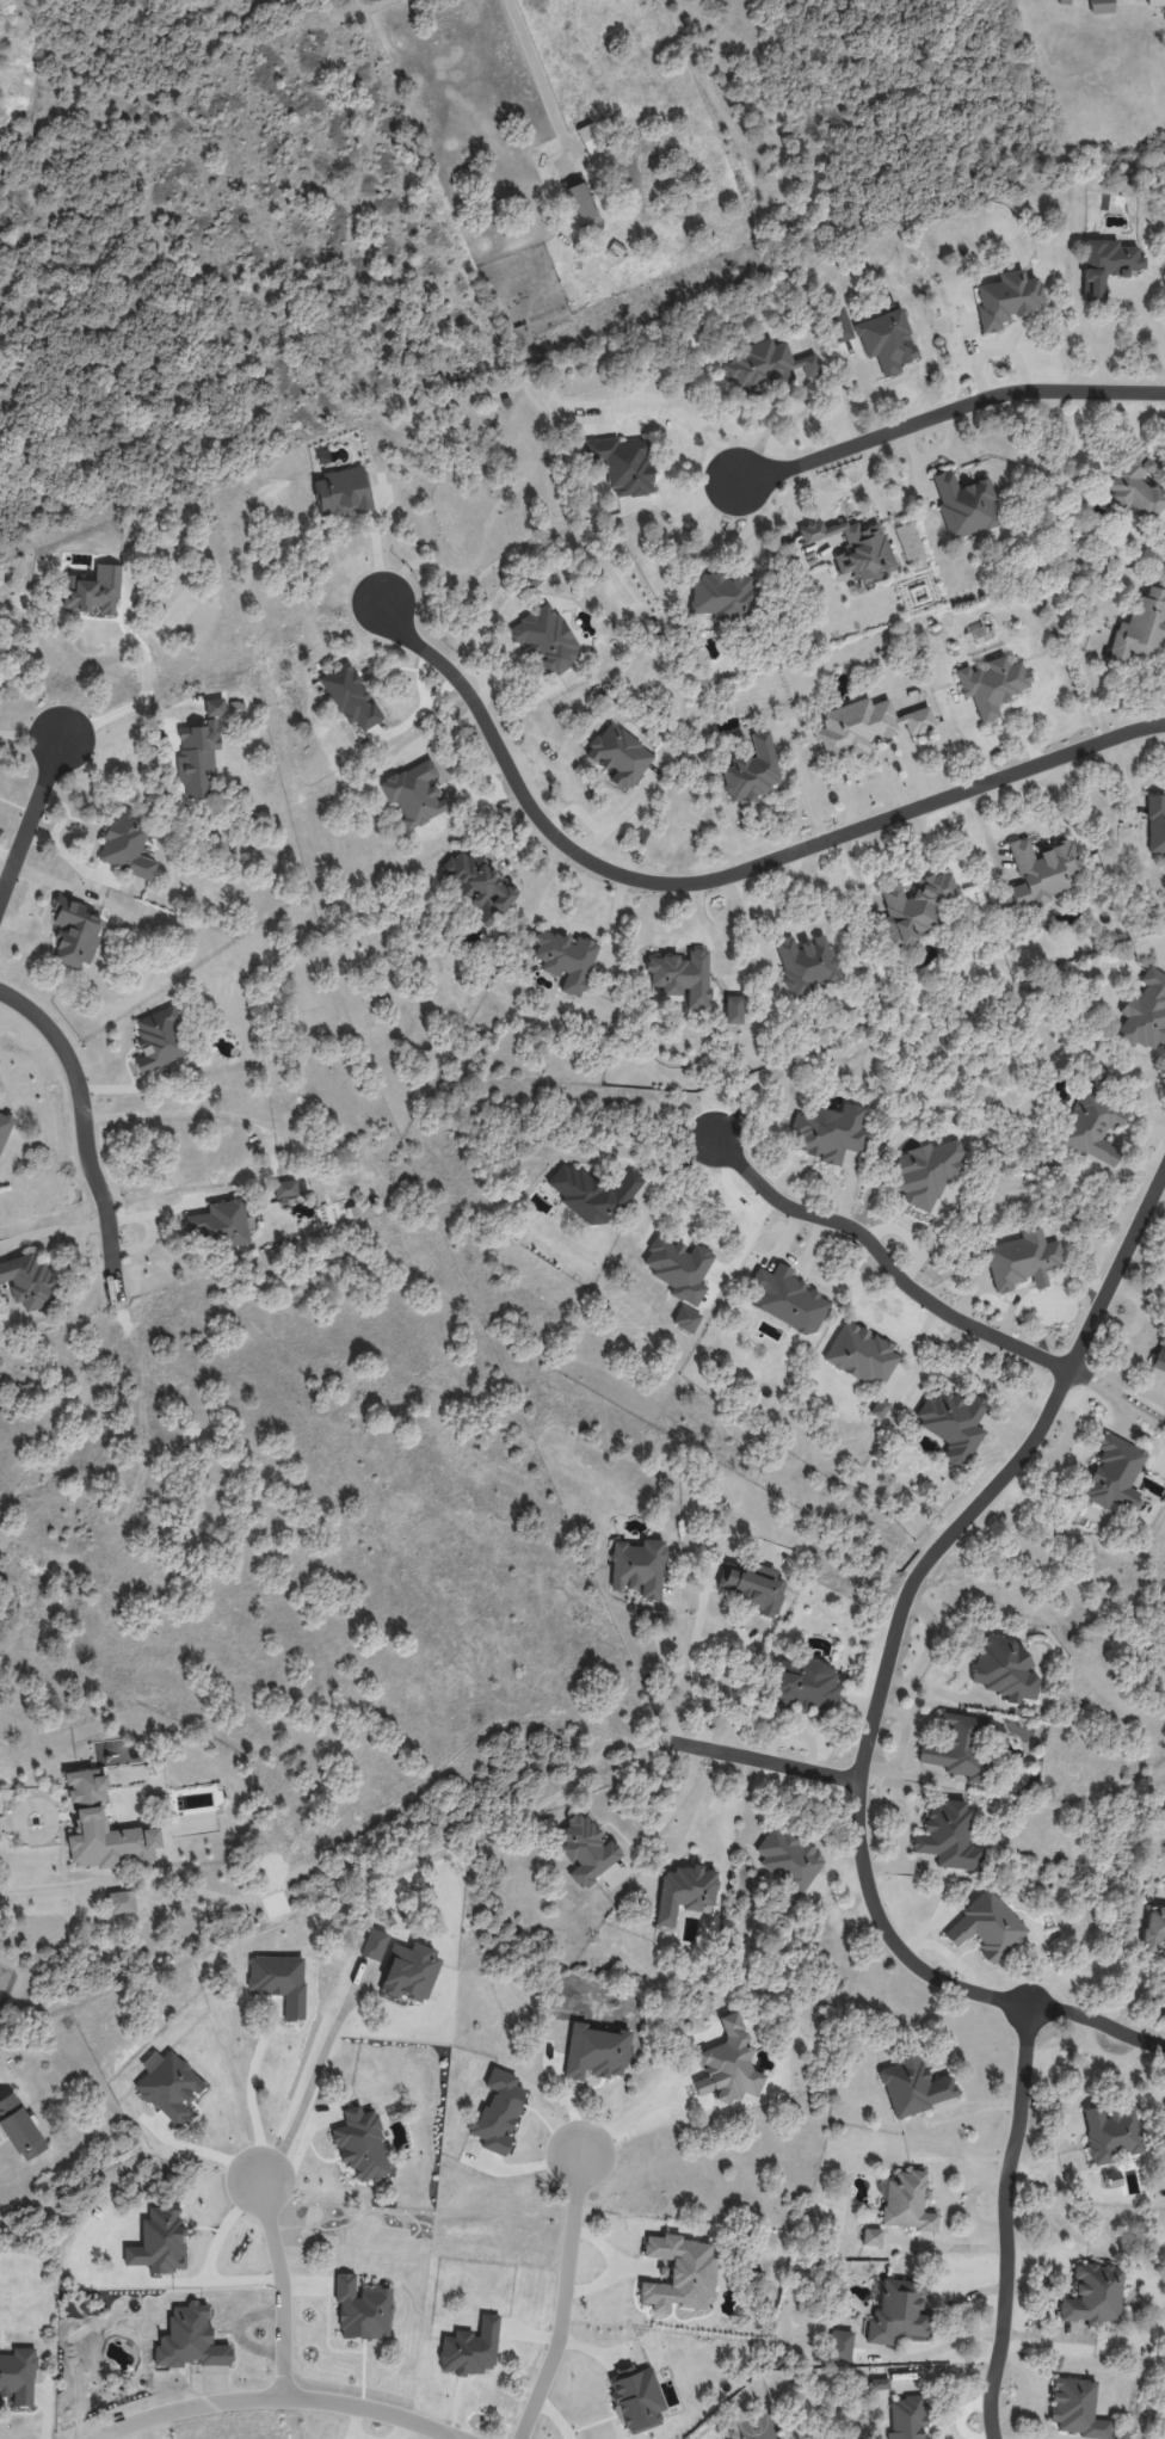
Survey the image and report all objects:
building: (1154, 4)
building: (1101, 6)
road: (534, 63)
building: (590, 137)
building: (580, 202)
building: (1105, 265)
building: (1006, 298)
road: (1149, 320)
building: (884, 340)
building: (764, 365)
road: (944, 412)
road: (679, 420)
building: (622, 463)
building: (1136, 484)
building: (343, 492)
building: (964, 504)
building: (908, 541)
road: (376, 547)
building: (853, 548)
building: (93, 591)
building: (720, 595)
building: (1140, 628)
building: (978, 634)
building: (544, 640)
road: (146, 684)
building: (991, 684)
building: (347, 695)
building: (864, 725)
road: (124, 728)
building: (199, 752)
building: (618, 756)
building: (751, 770)
building: (413, 794)
road: (31, 818)
building: (1155, 823)
building: (125, 843)
building: (1040, 870)
road: (721, 876)
building: (477, 883)
building: (914, 909)
building: (74, 931)
building: (565, 959)
building: (805, 963)
building: (682, 975)
building: (732, 1009)
building: (1145, 1012)
building: (158, 1040)
building: (4, 1127)
building: (1092, 1127)
building: (830, 1132)
road: (82, 1137)
building: (925, 1171)
road: (671, 1178)
building: (284, 1188)
building: (591, 1193)
building: (217, 1224)
road: (42, 1230)
road: (81, 1248)
road: (882, 1258)
building: (1022, 1259)
building: (678, 1268)
building: (29, 1281)
building: (787, 1299)
building: (861, 1355)
building: (1159, 1357)
road: (1120, 1378)
building: (879, 1408)
building: (953, 1423)
building: (1114, 1472)
building: (637, 1568)
building: (756, 1587)
road: (936, 1620)
road: (692, 1662)
road: (884, 1665)
road: (670, 1668)
building: (1004, 1668)
road: (948, 1676)
building: (805, 1686)
building: (958, 1747)
road: (759, 1759)
road: (667, 1811)
road: (8, 1823)
road: (694, 1827)
building: (103, 1829)
road: (35, 1836)
building: (948, 1836)
building: (586, 1849)
building: (788, 1858)
building: (684, 1891)
building: (121, 1902)
building: (986, 1927)
building: (1154, 1929)
building: (374, 1944)
building: (408, 1972)
building: (278, 1981)
road: (1138, 2003)
building: (169, 2087)
building: (913, 2087)
road: (310, 2088)
road: (249, 2092)
building: (497, 2112)
road: (629, 2117)
building: (19, 2129)
building: (1110, 2133)
building: (360, 2144)
building: (905, 2201)
road: (1007, 2222)
building: (871, 2237)
building: (159, 2240)
road: (210, 2253)
building: (678, 2273)
road: (277, 2285)
building: (1093, 2295)
road: (562, 2297)
building: (362, 2308)
building: (898, 2311)
building: (189, 2339)
building: (839, 2345)
road: (932, 2348)
building: (18, 2376)
building: (879, 2383)
road: (275, 2398)
building: (635, 2398)
building: (1075, 2408)
building: (906, 2418)

